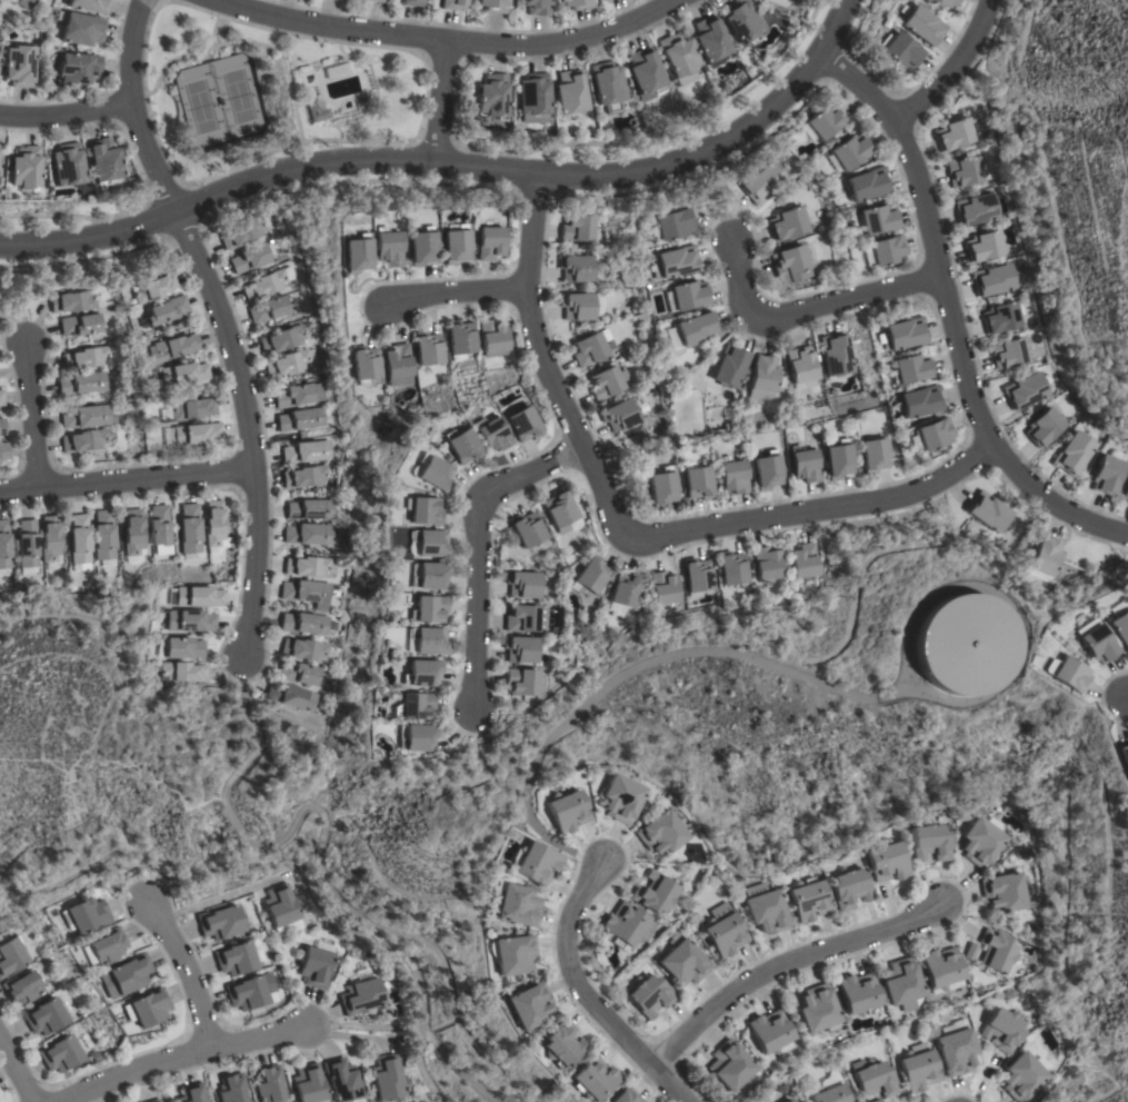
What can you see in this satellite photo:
building: (375, 1)
building: (941, 2)
building: (23, 3)
building: (412, 3)
building: (576, 3)
building: (451, 4)
building: (88, 6)
building: (492, 6)
building: (535, 7)
building: (741, 21)
building: (921, 26)
building: (81, 30)
building: (711, 41)
road: (440, 42)
building: (900, 51)
building: (679, 58)
building: (18, 66)
road: (951, 67)
building: (77, 68)
building: (646, 75)
building: (608, 87)
building: (570, 92)
building: (491, 96)
building: (532, 98)
road: (437, 101)
road: (63, 113)
building: (317, 113)
building: (825, 120)
building: (954, 135)
building: (848, 152)
building: (103, 162)
road: (452, 162)
building: (69, 168)
building: (24, 169)
building: (965, 172)
building: (763, 181)
building: (865, 185)
building: (977, 209)
building: (877, 219)
building: (786, 224)
building: (668, 225)
building: (577, 228)
building: (242, 232)
building: (455, 244)
building: (489, 244)
building: (984, 246)
building: (387, 247)
building: (421, 247)
building: (887, 250)
building: (357, 254)
building: (250, 258)
building: (675, 261)
building: (790, 265)
building: (576, 268)
building: (994, 279)
building: (263, 285)
building: (152, 288)
road: (450, 292)
building: (688, 295)
building: (71, 301)
building: (576, 306)
road: (808, 307)
building: (268, 309)
building: (164, 310)
road: (949, 317)
building: (1001, 317)
road: (229, 318)
building: (80, 325)
building: (695, 329)
building: (900, 334)
building: (460, 337)
building: (492, 338)
building: (281, 339)
building: (170, 348)
building: (428, 348)
building: (589, 348)
building: (1010, 353)
building: (88, 357)
building: (833, 357)
building: (289, 363)
building: (398, 365)
building: (365, 366)
building: (728, 366)
building: (800, 367)
building: (908, 368)
building: (181, 375)
building: (762, 377)
building: (606, 383)
building: (81, 384)
building: (1025, 389)
building: (299, 395)
building: (1, 399)
building: (918, 400)
building: (191, 409)
road: (30, 414)
building: (618, 415)
building: (84, 417)
building: (300, 419)
building: (522, 425)
building: (1042, 426)
building: (1, 427)
building: (490, 433)
building: (194, 434)
building: (934, 434)
building: (83, 440)
building: (461, 446)
building: (3, 451)
building: (306, 451)
building: (1071, 453)
building: (872, 454)
building: (836, 459)
building: (802, 464)
building: (766, 470)
building: (432, 473)
building: (731, 475)
building: (1105, 475)
building: (305, 477)
road: (126, 479)
building: (696, 481)
building: (660, 487)
building: (1125, 494)
building: (310, 509)
building: (422, 510)
building: (559, 510)
building: (988, 512)
building: (213, 523)
building: (158, 525)
building: (528, 528)
building: (132, 532)
building: (189, 532)
road: (625, 532)
building: (309, 534)
building: (103, 535)
building: (50, 538)
building: (79, 539)
building: (27, 544)
building: (431, 544)
building: (4, 546)
road: (476, 549)
building: (1044, 558)
building: (803, 560)
building: (766, 563)
building: (306, 566)
building: (731, 568)
building: (697, 575)
building: (430, 576)
building: (590, 576)
building: (521, 585)
building: (663, 588)
building: (626, 589)
building: (307, 593)
building: (197, 597)
building: (428, 609)
building: (521, 619)
building: (189, 621)
building: (303, 624)
building: (1118, 624)
building: (429, 641)
building: (1094, 642)
water tower: (962, 644)
building: (960, 645)
building: (179, 648)
building: (303, 649)
building: (519, 649)
road: (635, 667)
building: (182, 672)
building: (422, 673)
building: (1066, 673)
building: (298, 674)
building: (521, 682)
road: (1125, 692)
building: (291, 697)
building: (413, 706)
building: (418, 738)
building: (1121, 758)
building: (622, 798)
building: (568, 812)
building: (661, 833)
building: (930, 842)
building: (980, 842)
road: (320, 843)
building: (886, 861)
building: (535, 862)
building: (849, 888)
building: (1004, 892)
building: (653, 893)
building: (808, 900)
road: (207, 902)
building: (515, 905)
building: (281, 909)
building: (767, 912)
building: (84, 916)
building: (219, 922)
building: (627, 925)
building: (725, 934)
building: (104, 947)
building: (969, 952)
building: (996, 952)
building: (11, 955)
building: (512, 955)
building: (238, 957)
building: (682, 961)
building: (317, 965)
building: (941, 970)
road: (783, 972)
building: (129, 974)
road: (184, 974)
building: (901, 984)
building: (22, 989)
building: (251, 992)
road: (579, 992)
building: (857, 994)
building: (649, 995)
building: (361, 996)
building: (527, 1005)
building: (148, 1007)
building: (817, 1010)
building: (44, 1017)
building: (1002, 1030)
building: (769, 1032)
building: (559, 1045)
building: (956, 1048)
building: (60, 1054)
road: (187, 1056)
building: (729, 1065)
road: (418, 1068)
building: (917, 1069)
road: (16, 1073)
building: (1021, 1076)
building: (872, 1078)
building: (386, 1079)
building: (339, 1080)
building: (591, 1080)
building: (306, 1084)
building: (268, 1085)
building: (230, 1088)
building: (190, 1093)
building: (829, 1094)
building: (625, 1095)
building: (154, 1101)
road: (681, 1101)
building: (789, 1101)

